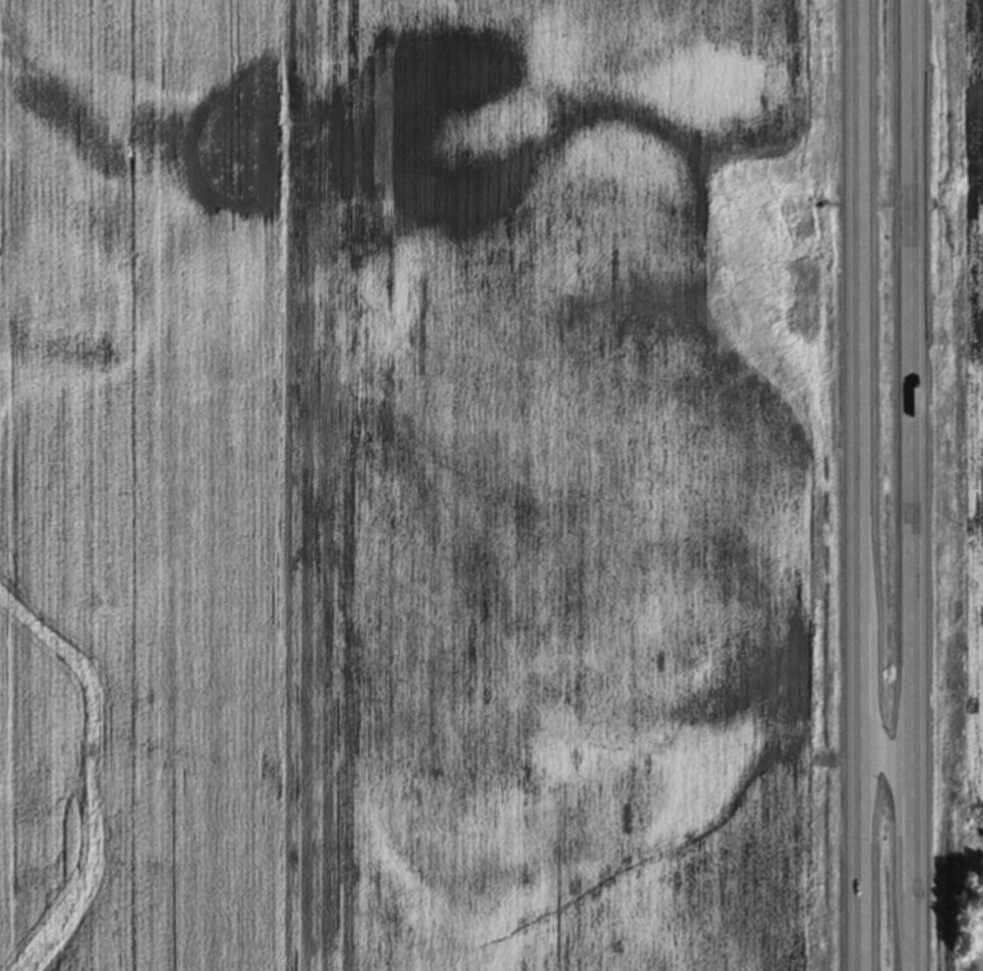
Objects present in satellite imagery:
building: (850, 250)
road: (855, 485)
road: (912, 485)

